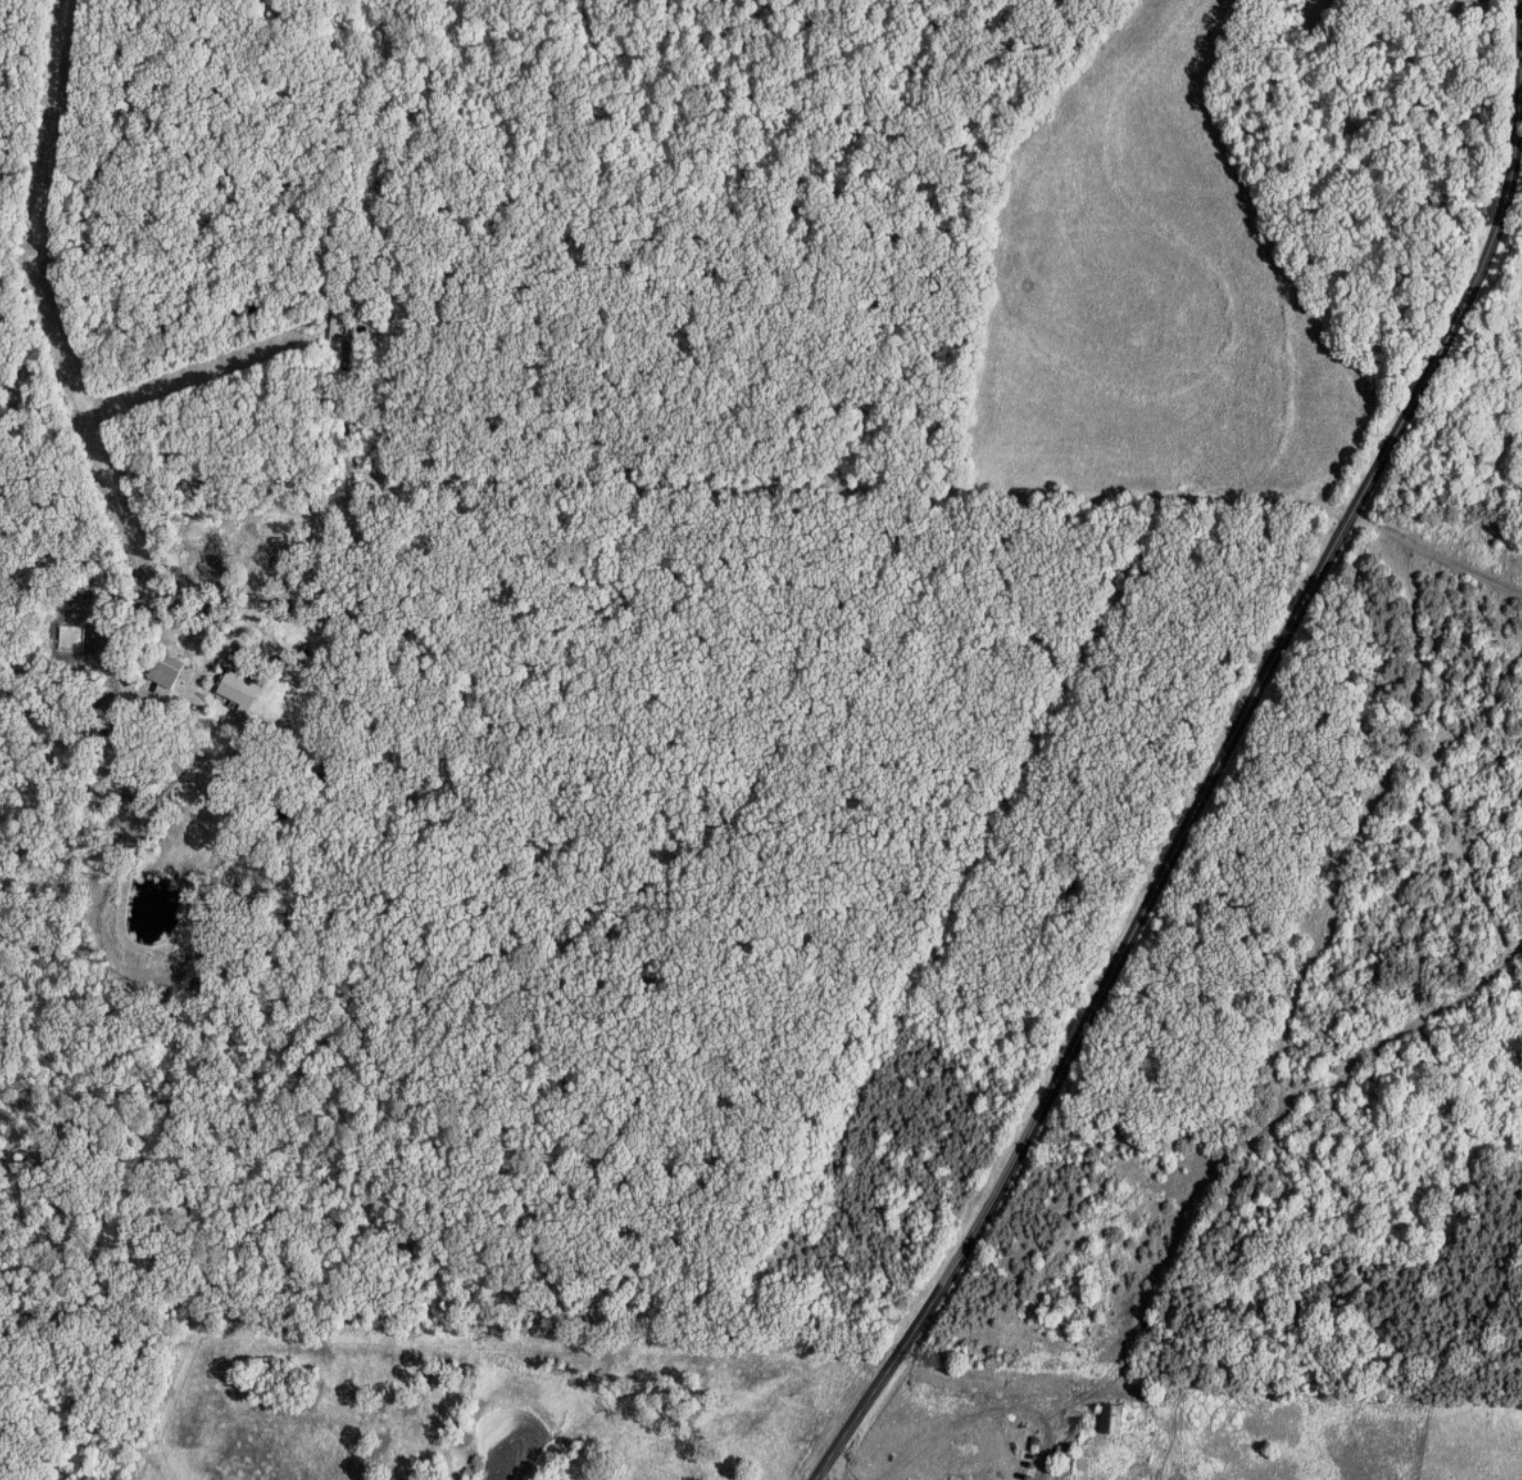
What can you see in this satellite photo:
building: (339, 325)
road: (1436, 552)
building: (168, 671)
building: (241, 689)
road: (1198, 813)
building: (1115, 1418)
building: (1008, 1479)

